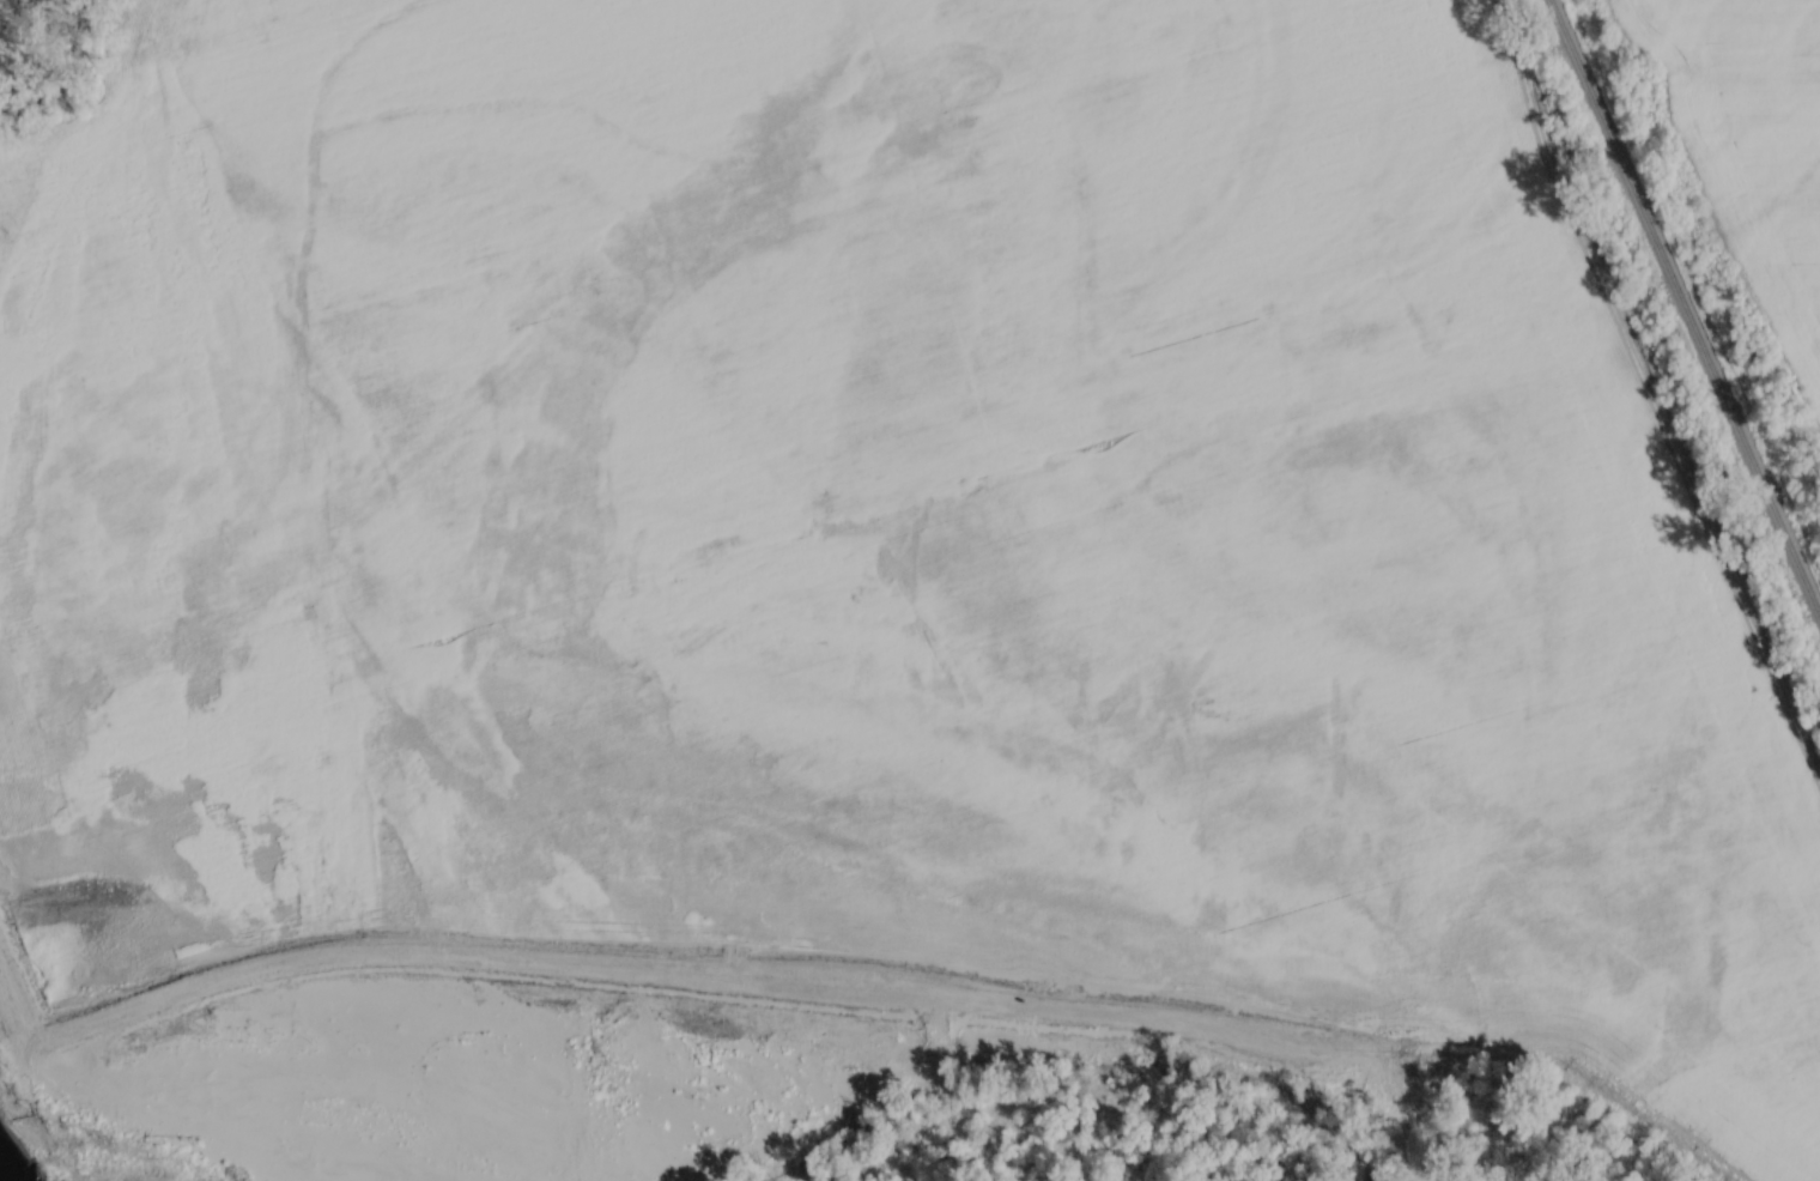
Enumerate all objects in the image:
railway: (1685, 305)

